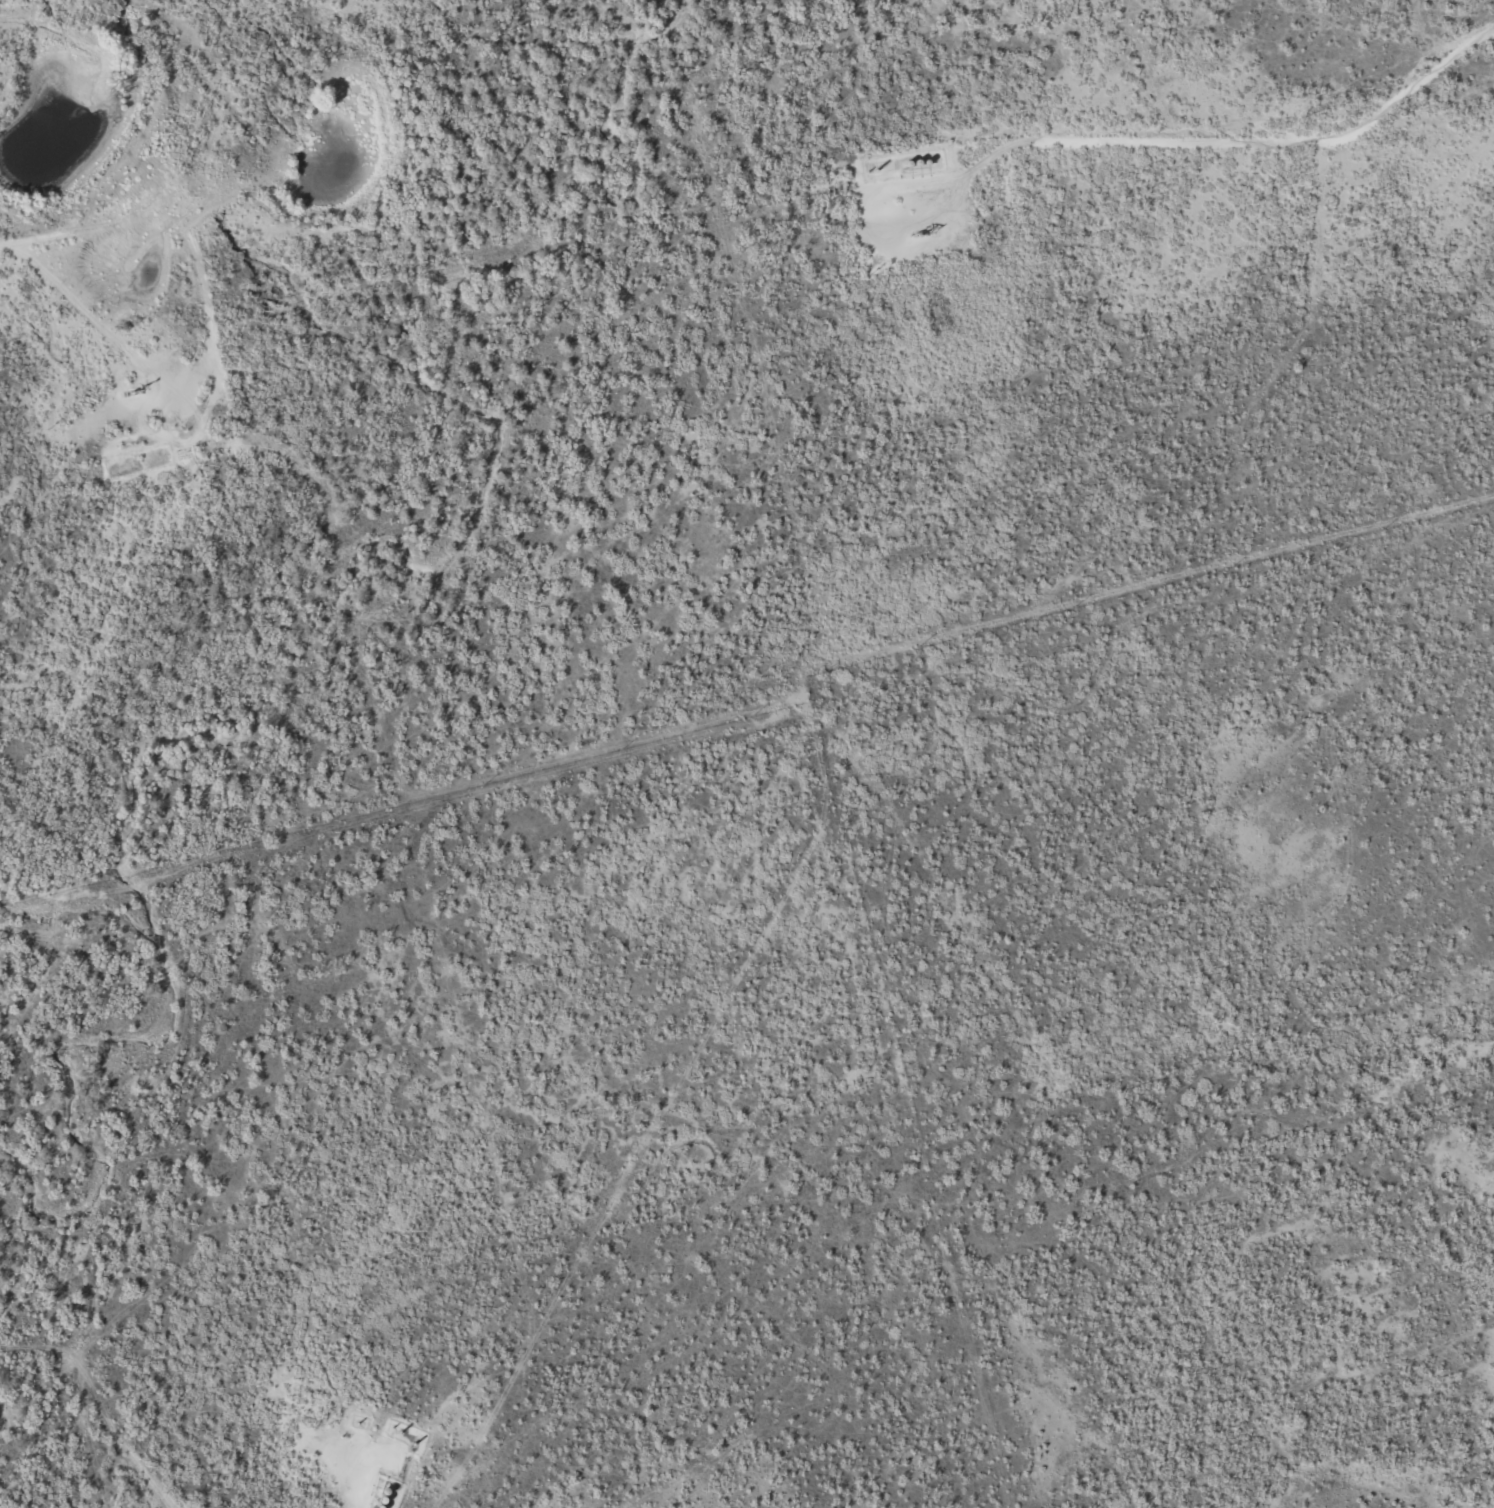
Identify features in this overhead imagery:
building: (125, 466)

